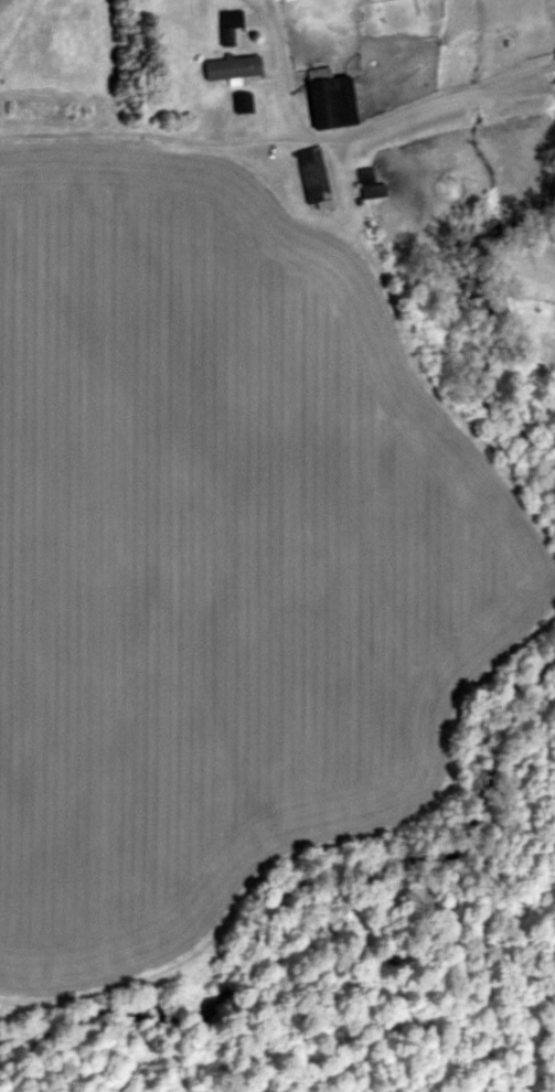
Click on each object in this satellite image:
road: (268, 11)
building: (232, 26)
building: (237, 68)
road: (284, 74)
building: (345, 99)
building: (244, 104)
road: (280, 136)
building: (317, 178)

